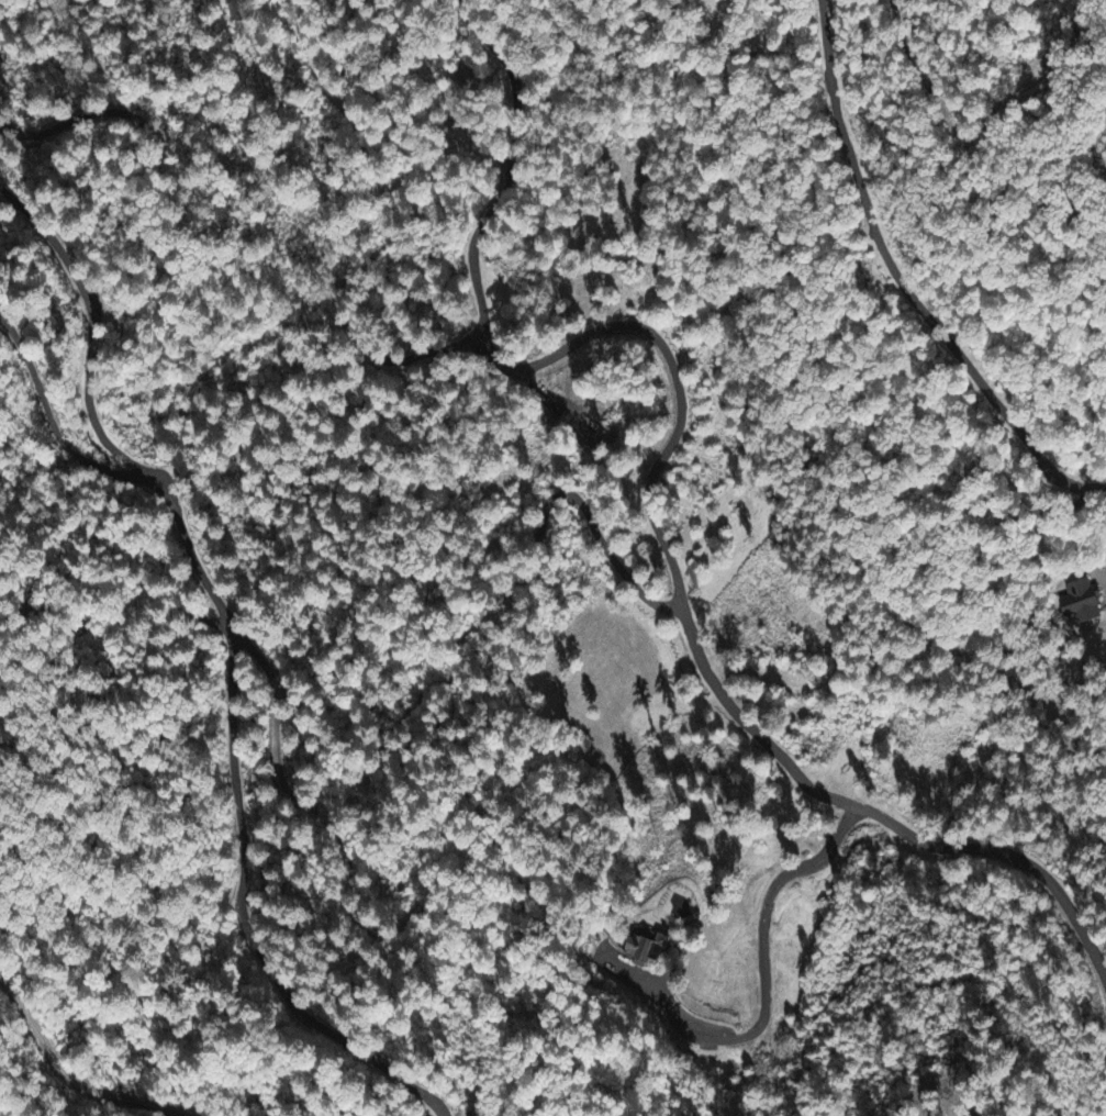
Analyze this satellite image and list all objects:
power tower: (1083, 102)
road: (902, 284)
road: (409, 359)
road: (649, 488)
road: (581, 506)
road: (234, 657)
road: (70, 1074)

